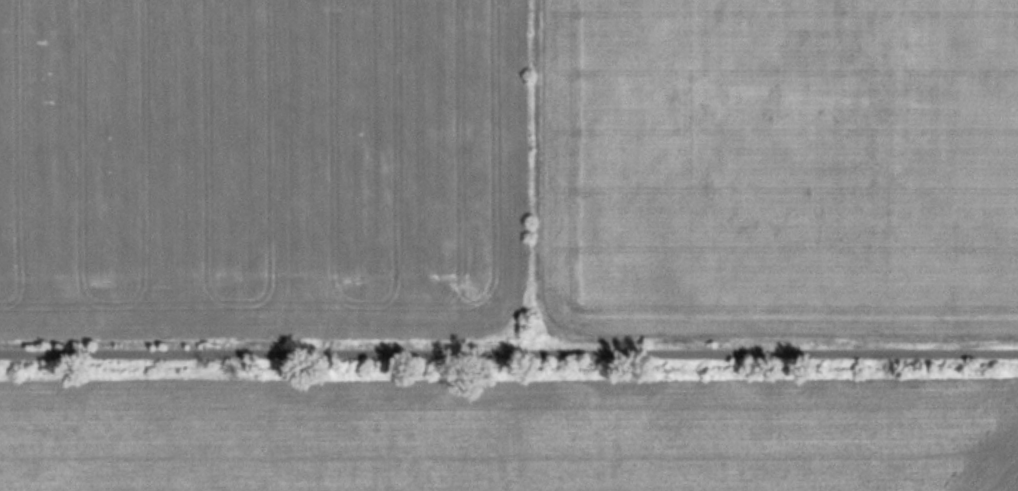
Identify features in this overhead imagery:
road: (508, 349)

